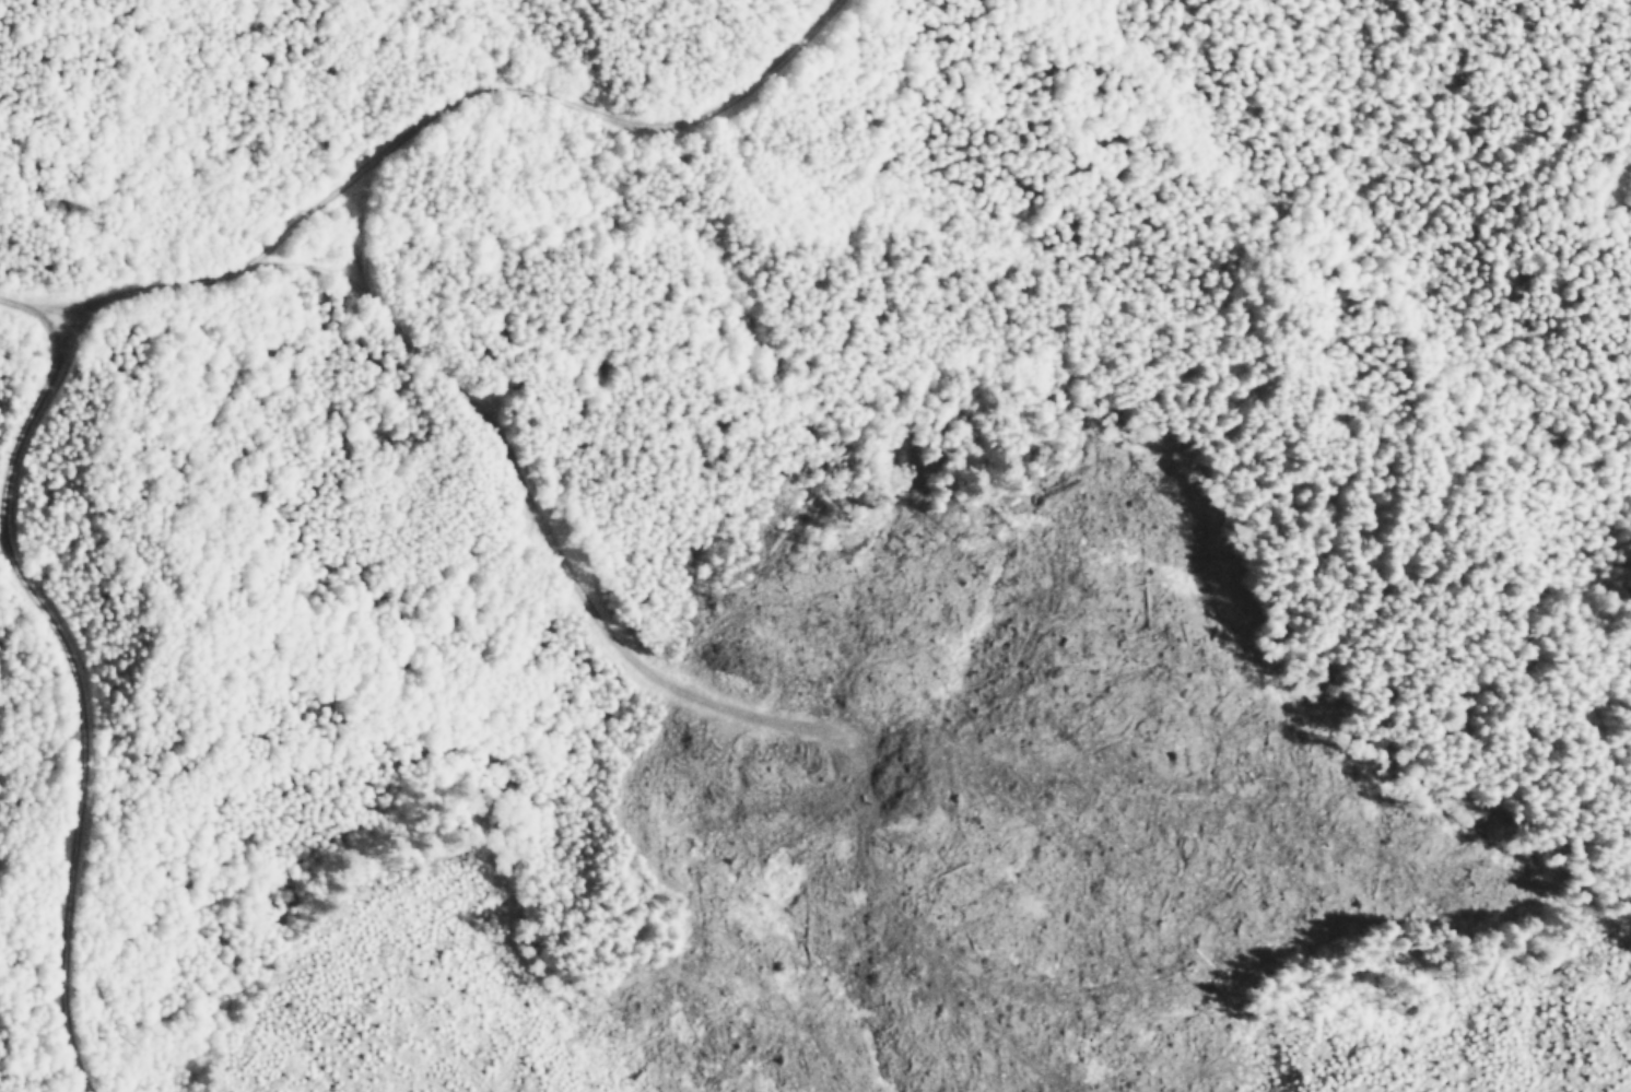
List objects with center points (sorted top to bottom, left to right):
road: (422, 131)
road: (1619, 178)
road: (85, 684)

